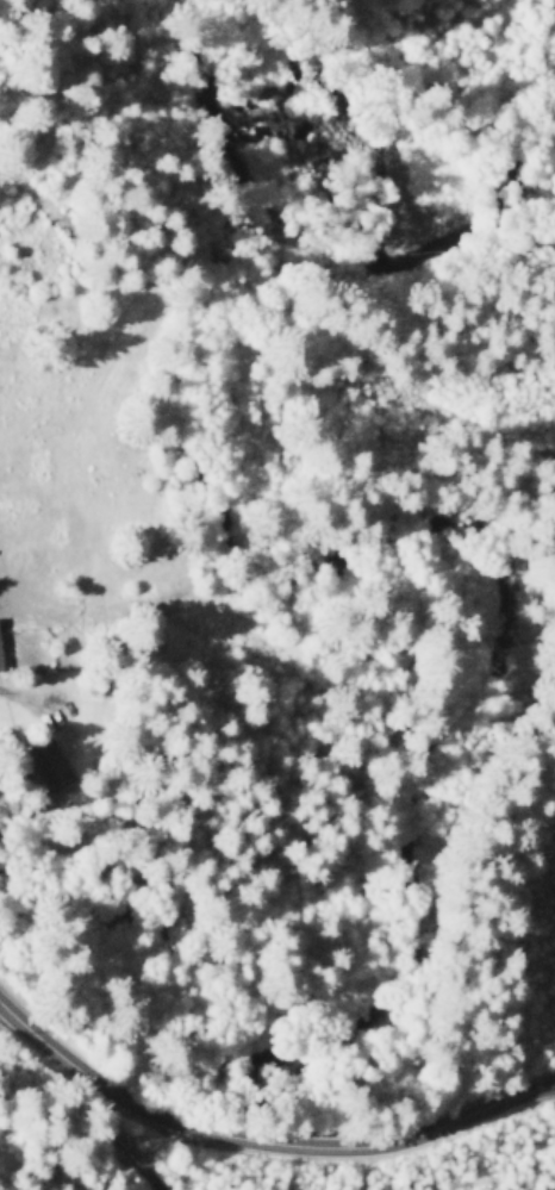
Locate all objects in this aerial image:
river: (344, 167)
road: (497, 440)
building: (1, 654)
building: (50, 765)
road: (262, 1140)

